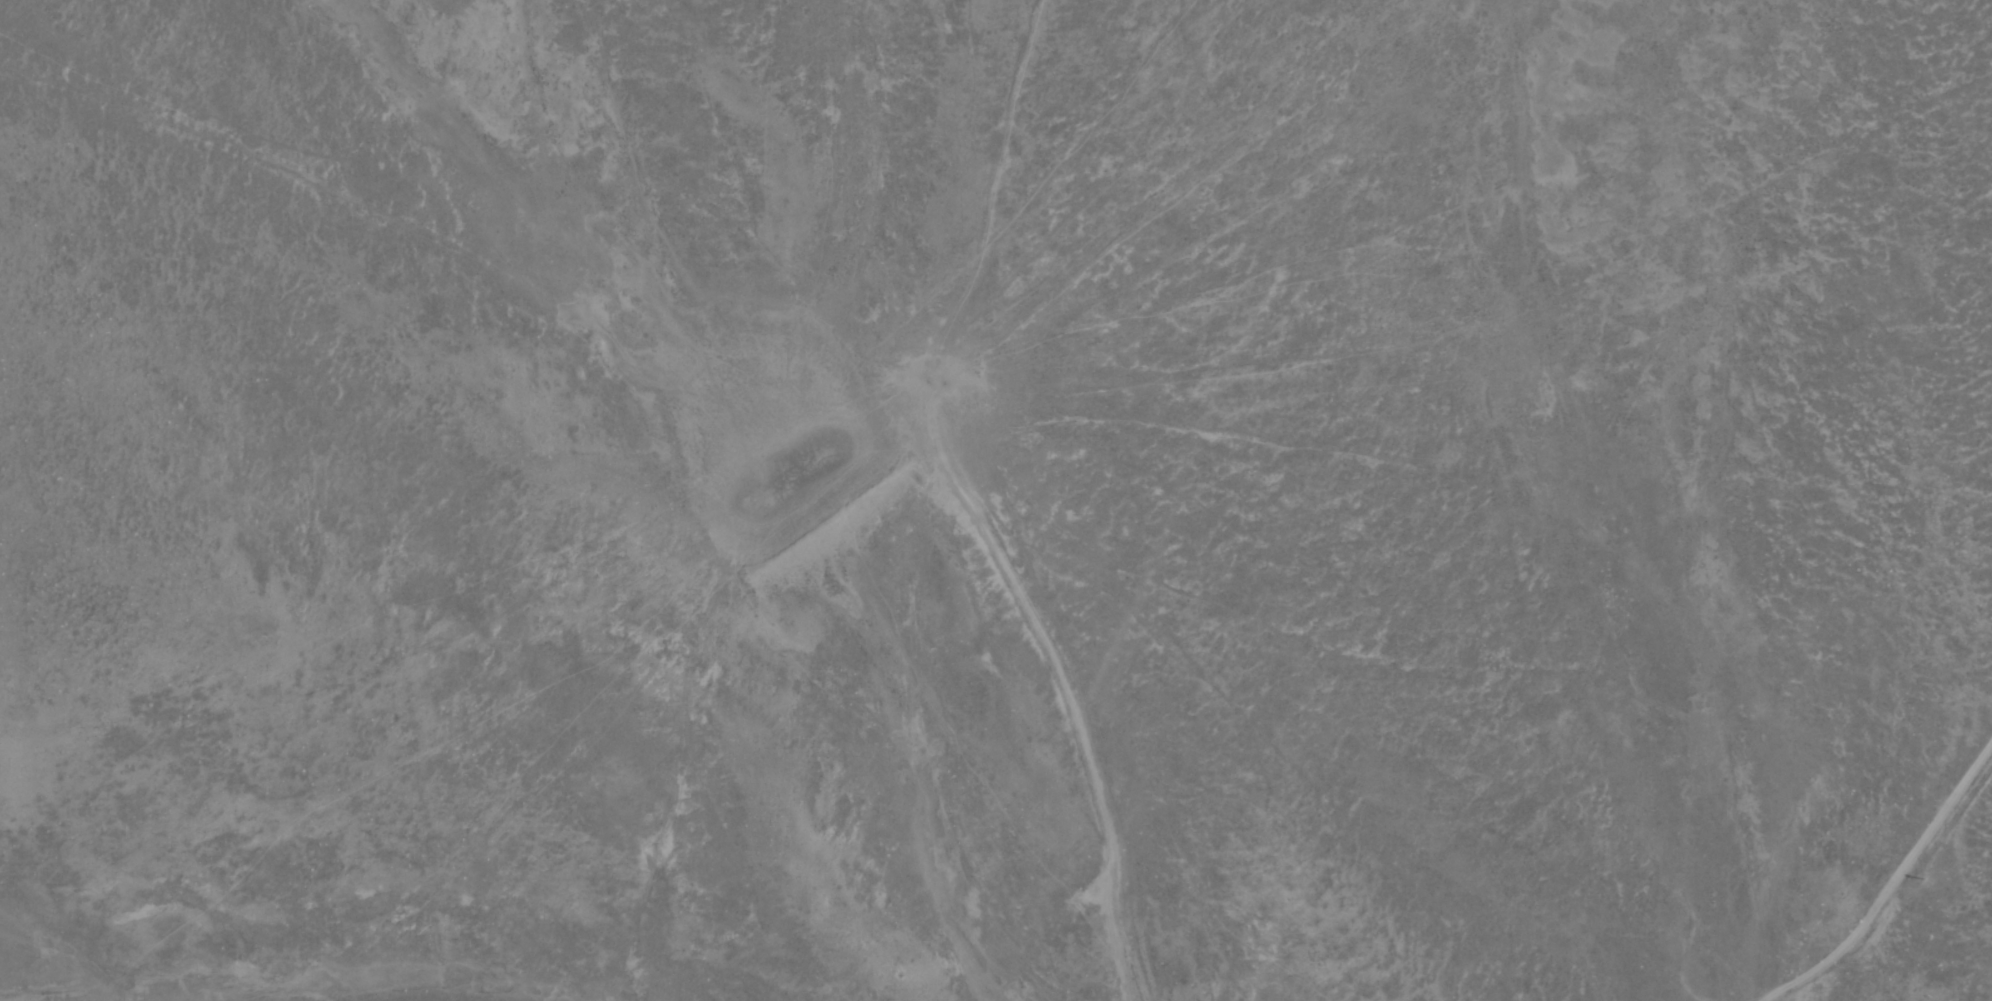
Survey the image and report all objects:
road: (1049, 713)

